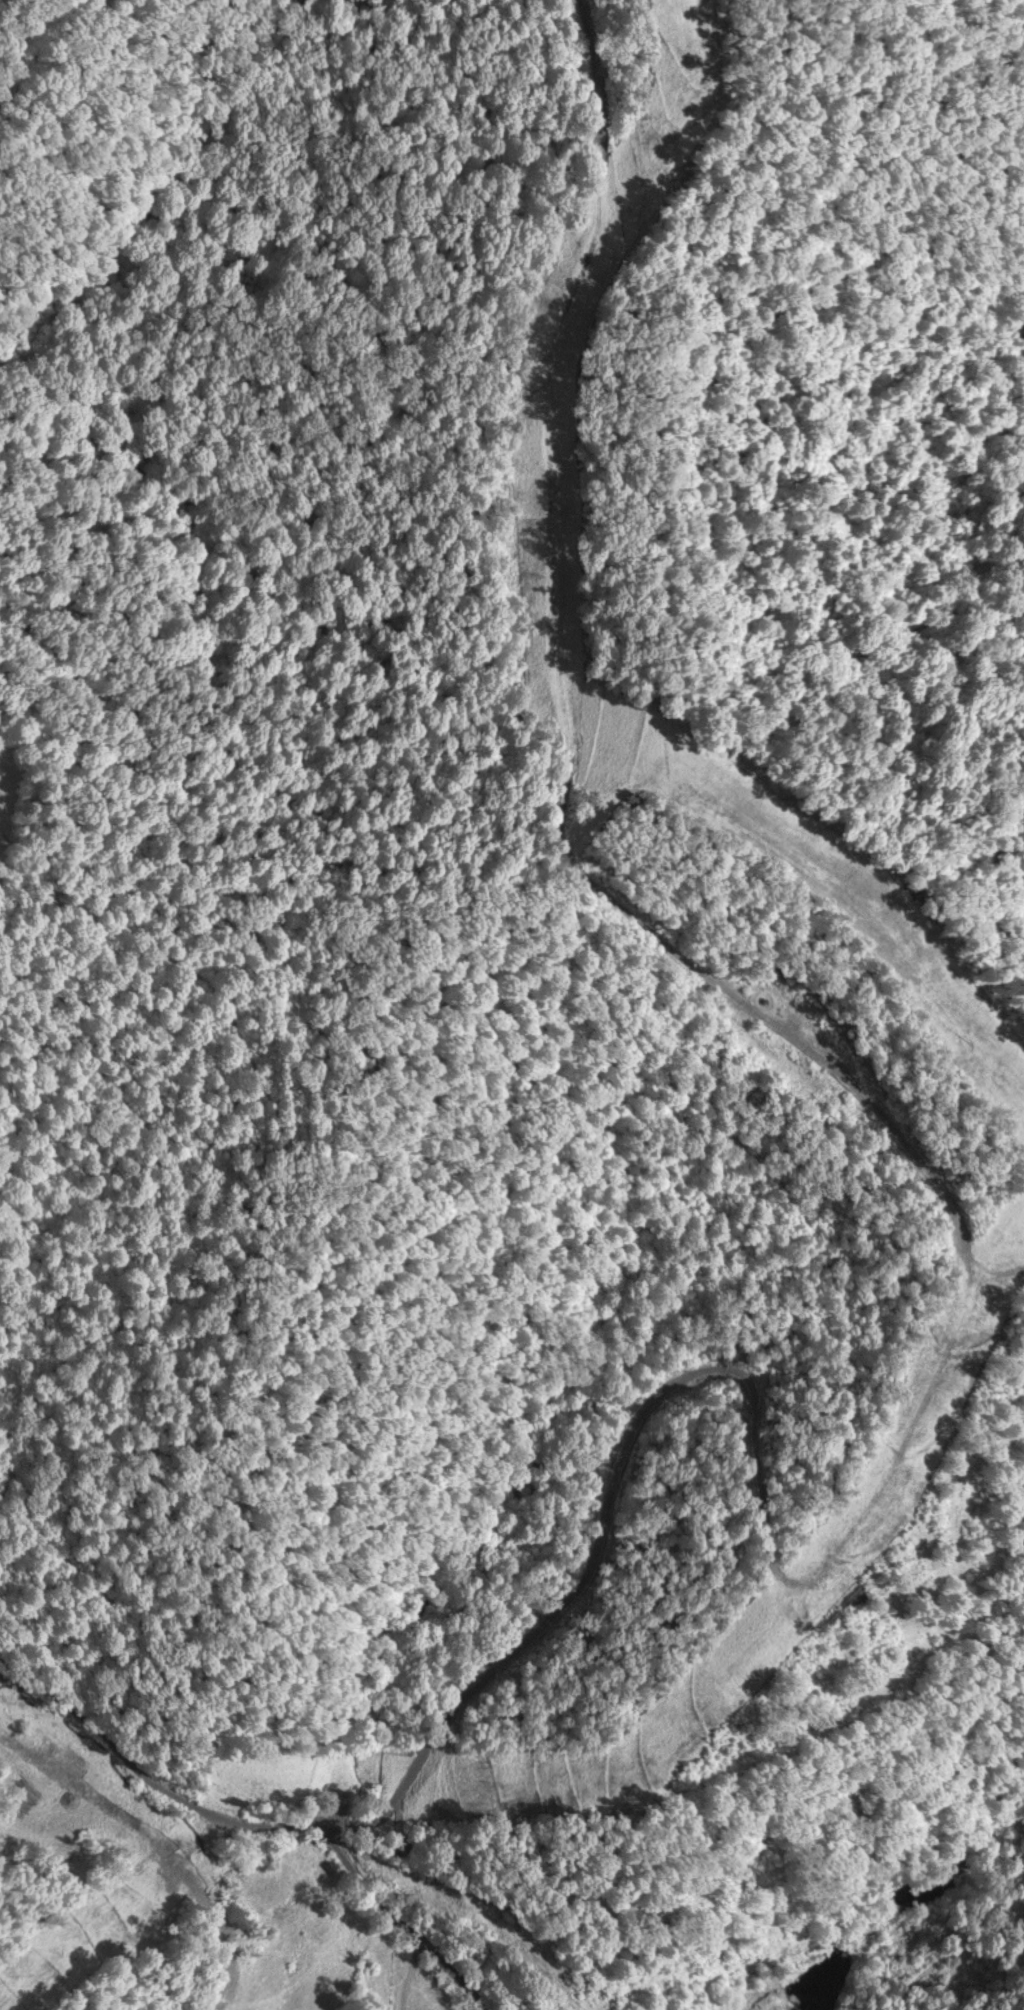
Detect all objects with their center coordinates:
road: (259, 1824)

